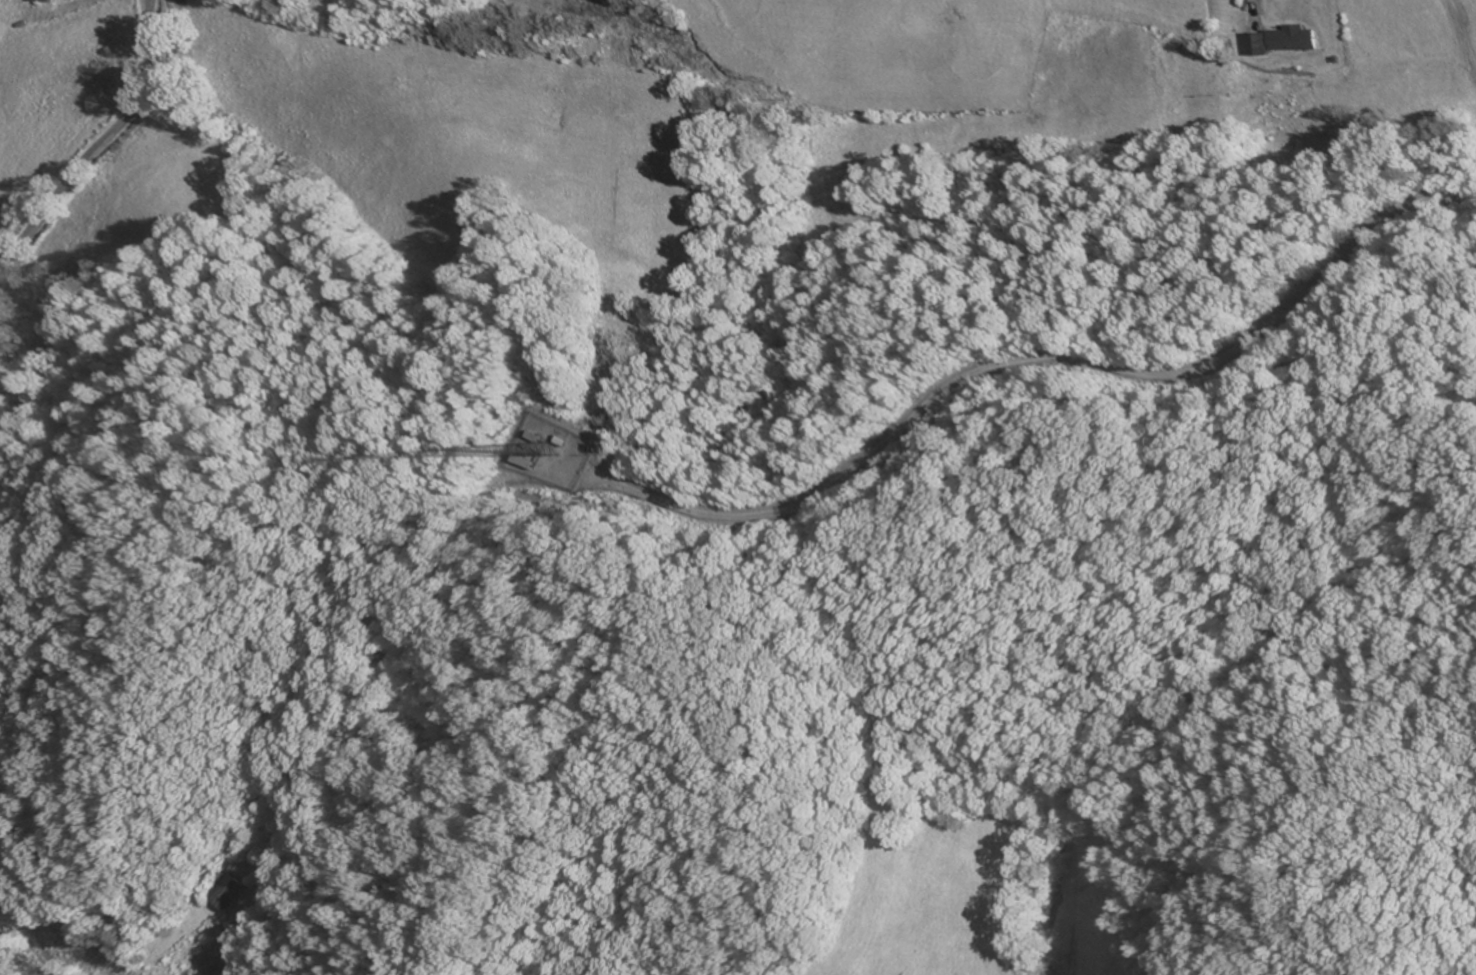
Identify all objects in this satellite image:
building: (37, 0)
building: (1286, 40)
road: (101, 145)
building: (526, 462)
building: (233, 892)
road: (12, 947)

